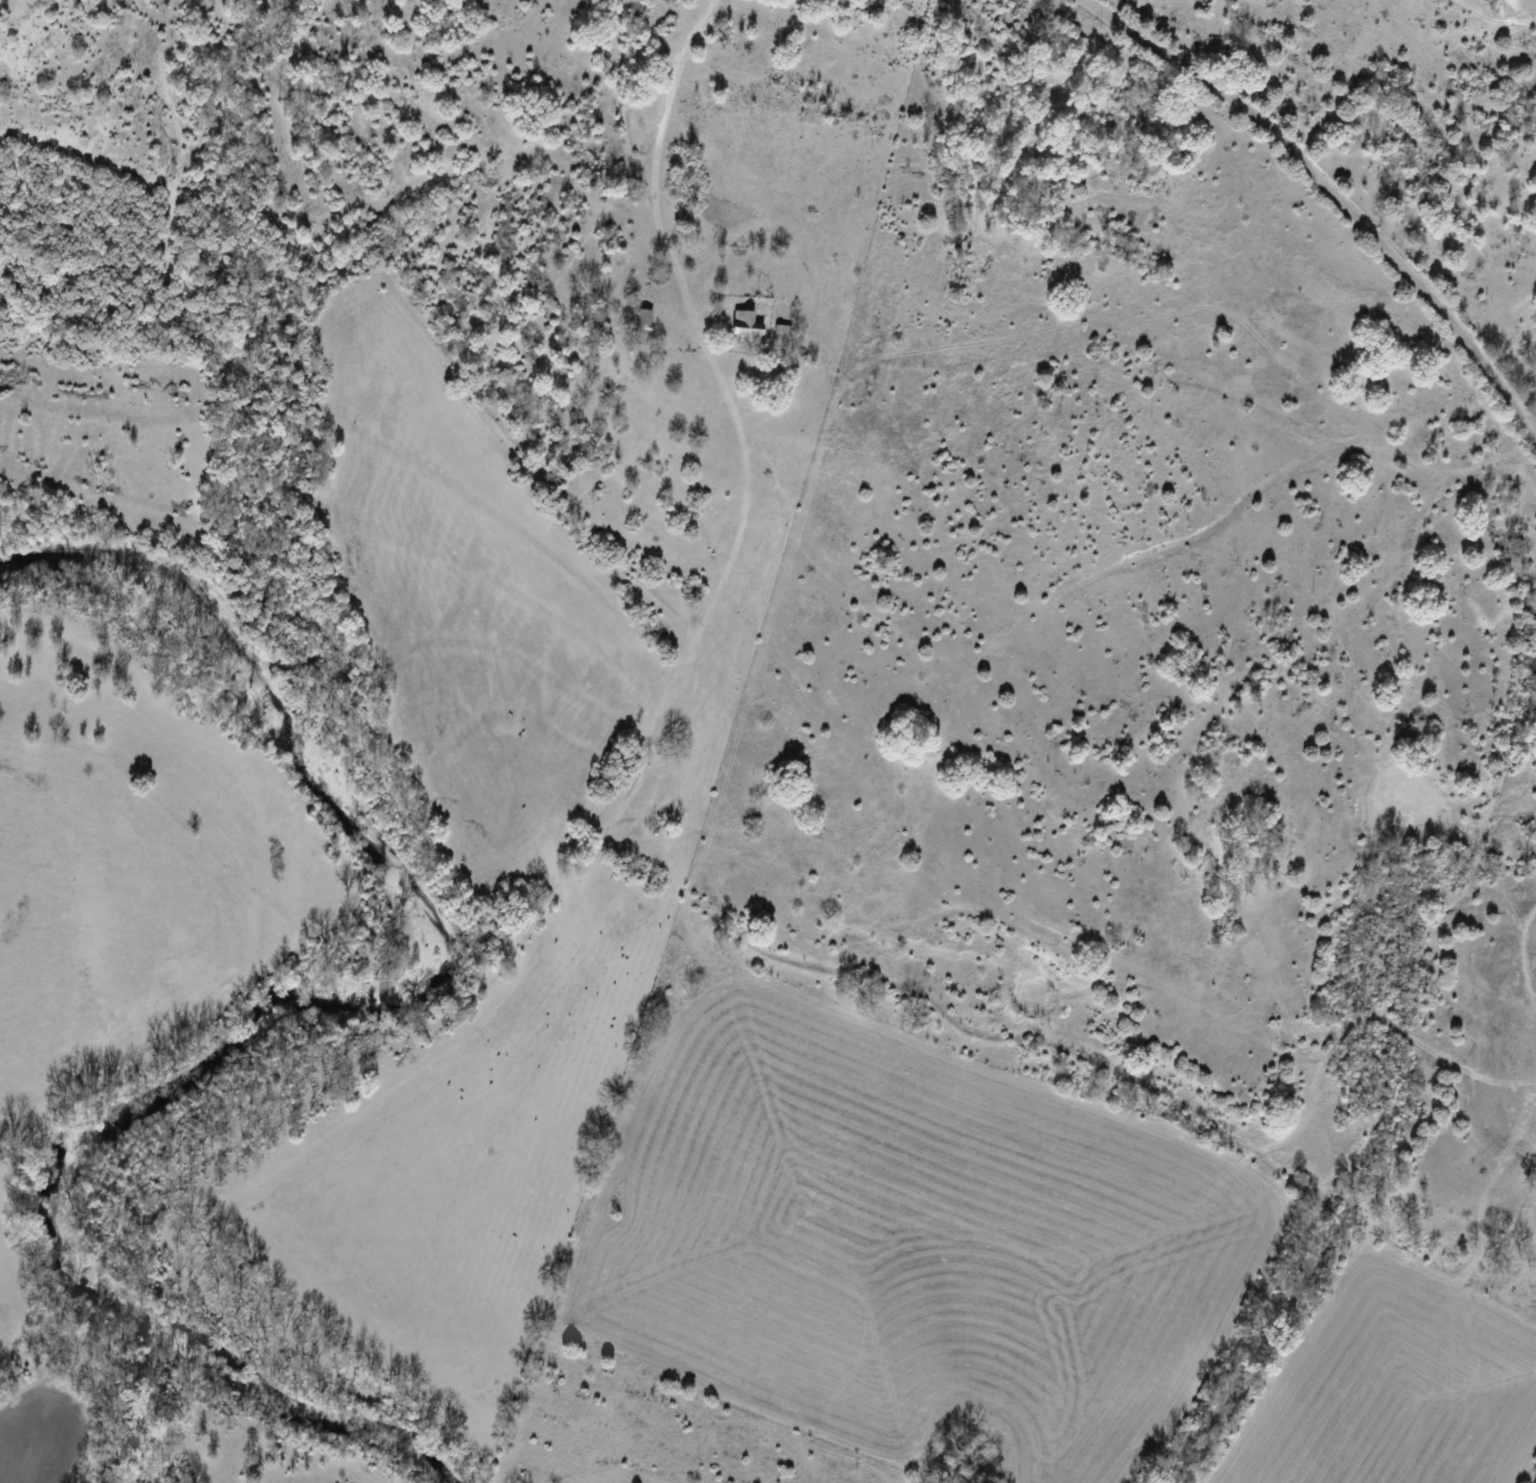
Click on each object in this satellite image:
park: (1371, 178)
road: (1336, 194)
building: (748, 325)
building: (644, 327)

